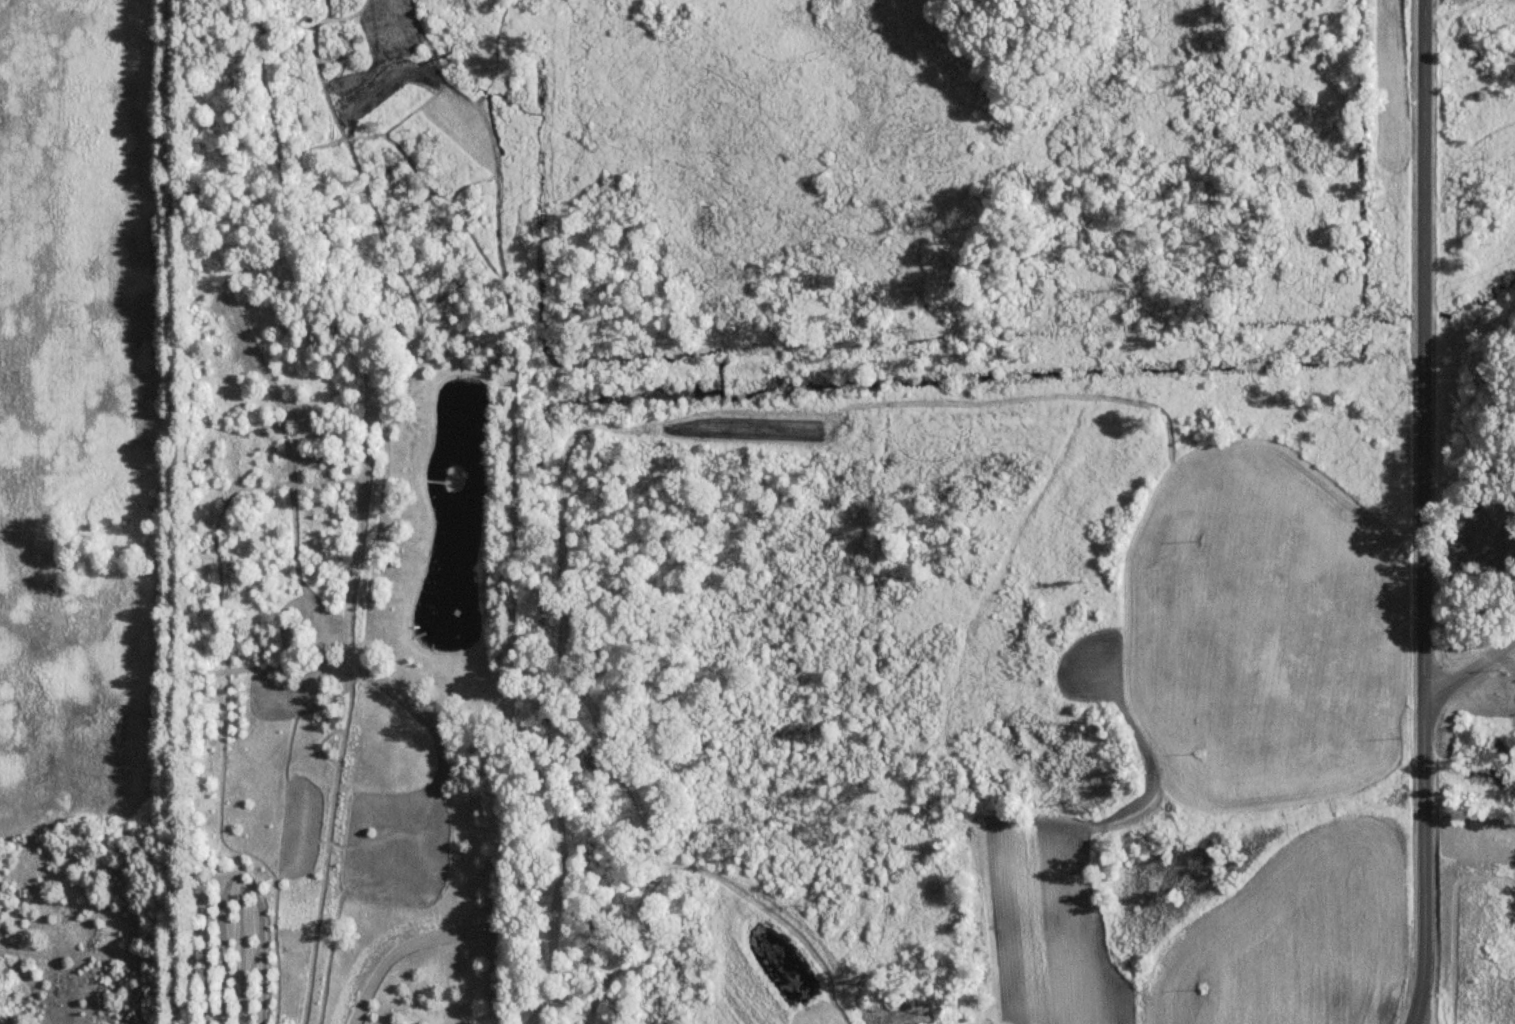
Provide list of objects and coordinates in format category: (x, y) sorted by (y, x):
road: (1421, 512)
road: (1501, 647)
road: (1454, 679)

